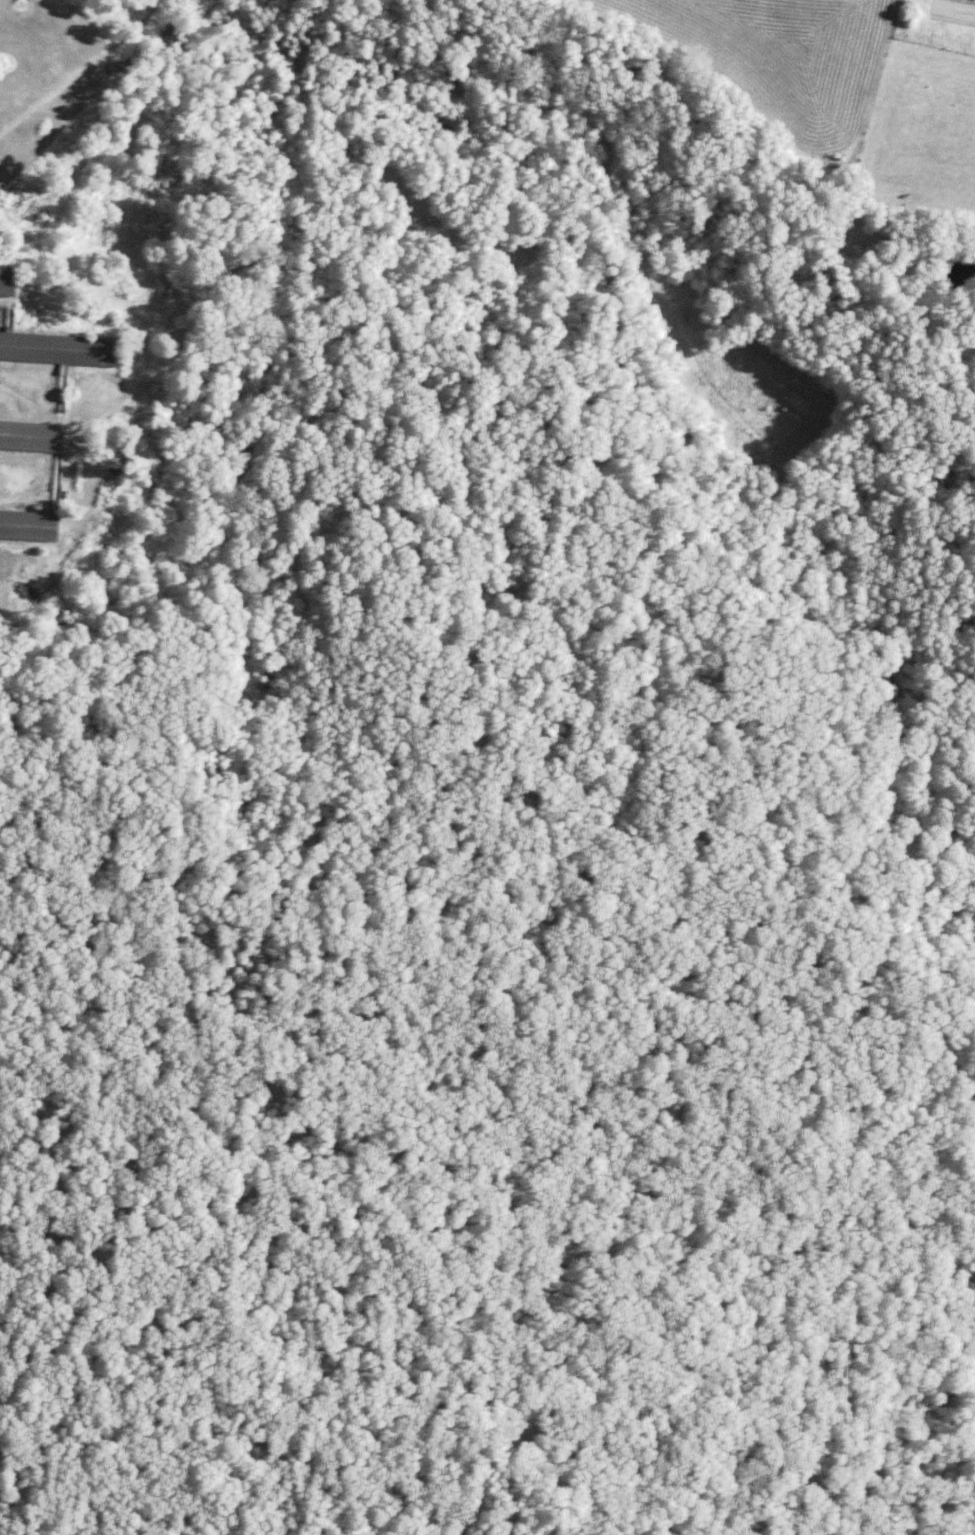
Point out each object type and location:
building: (7, 281)
building: (58, 348)
building: (30, 436)
building: (27, 525)

